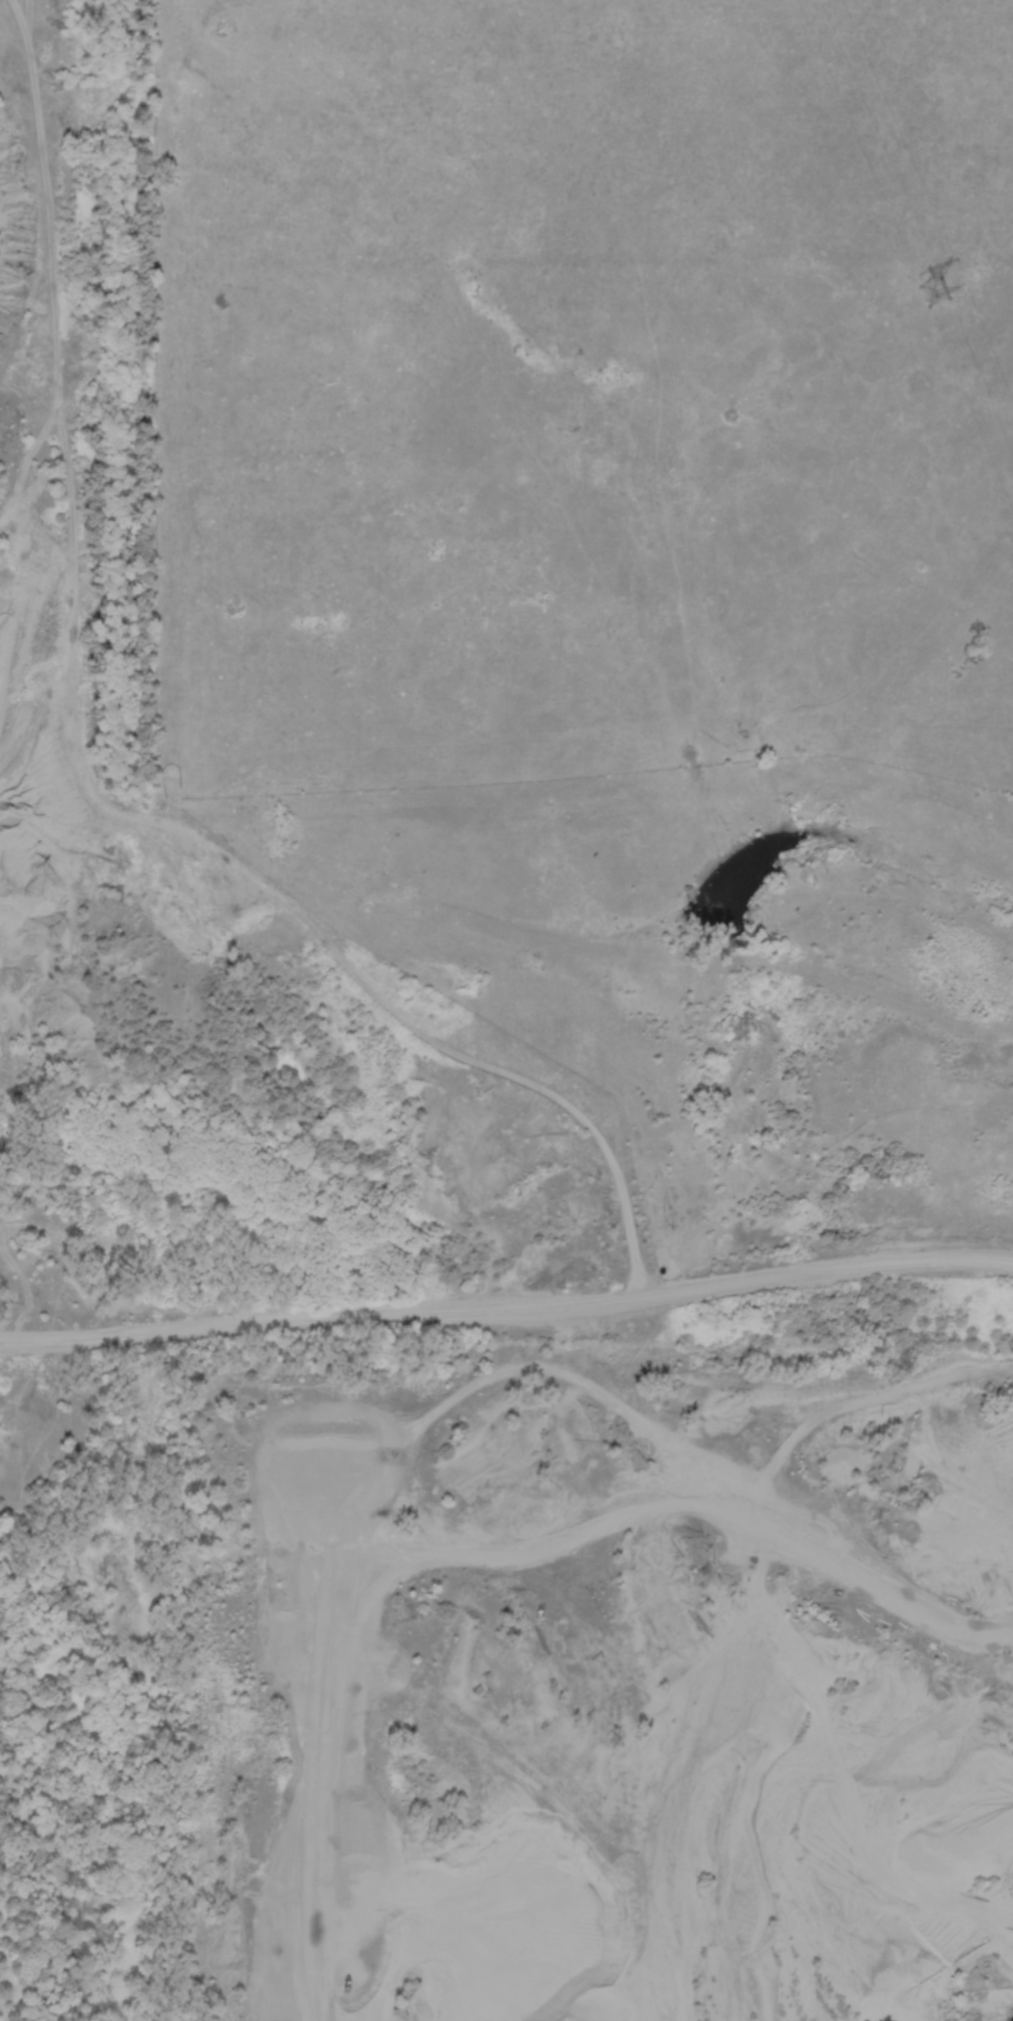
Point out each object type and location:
power tower: (935, 293)
road: (507, 1311)

